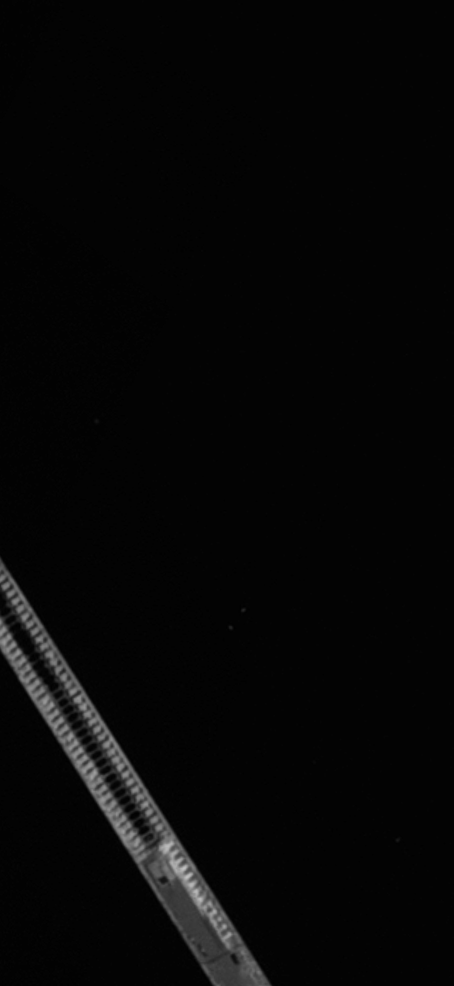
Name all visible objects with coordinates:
park: (122, 794)

